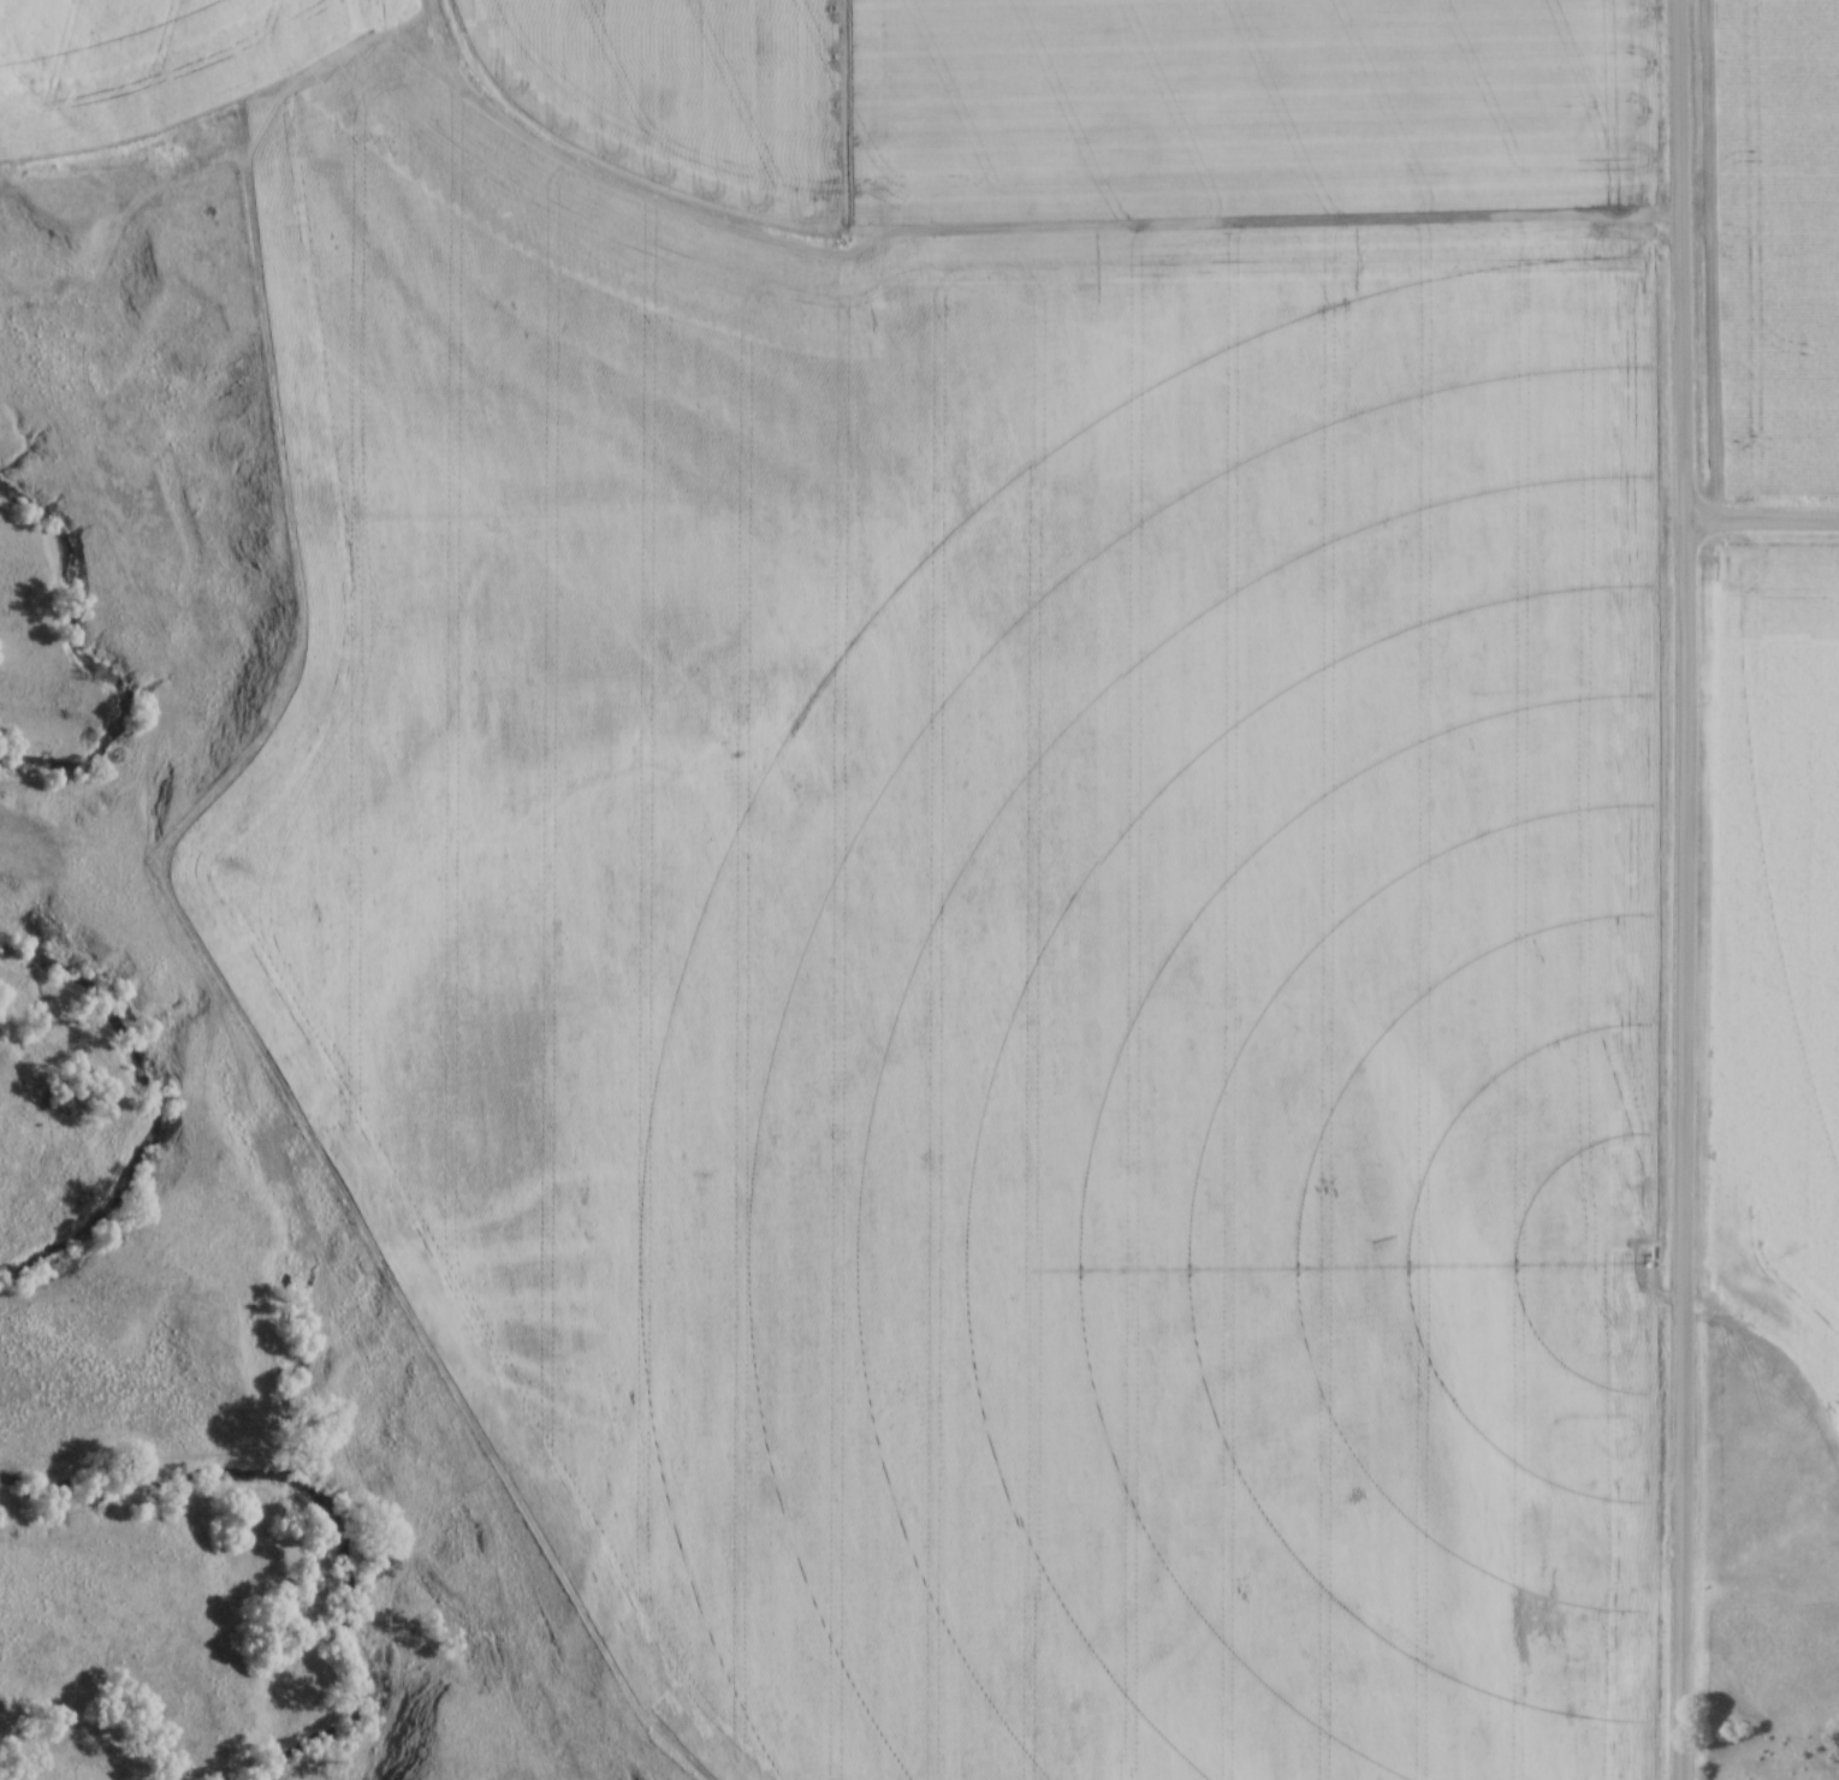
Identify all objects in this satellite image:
road: (1764, 521)
road: (1686, 889)

